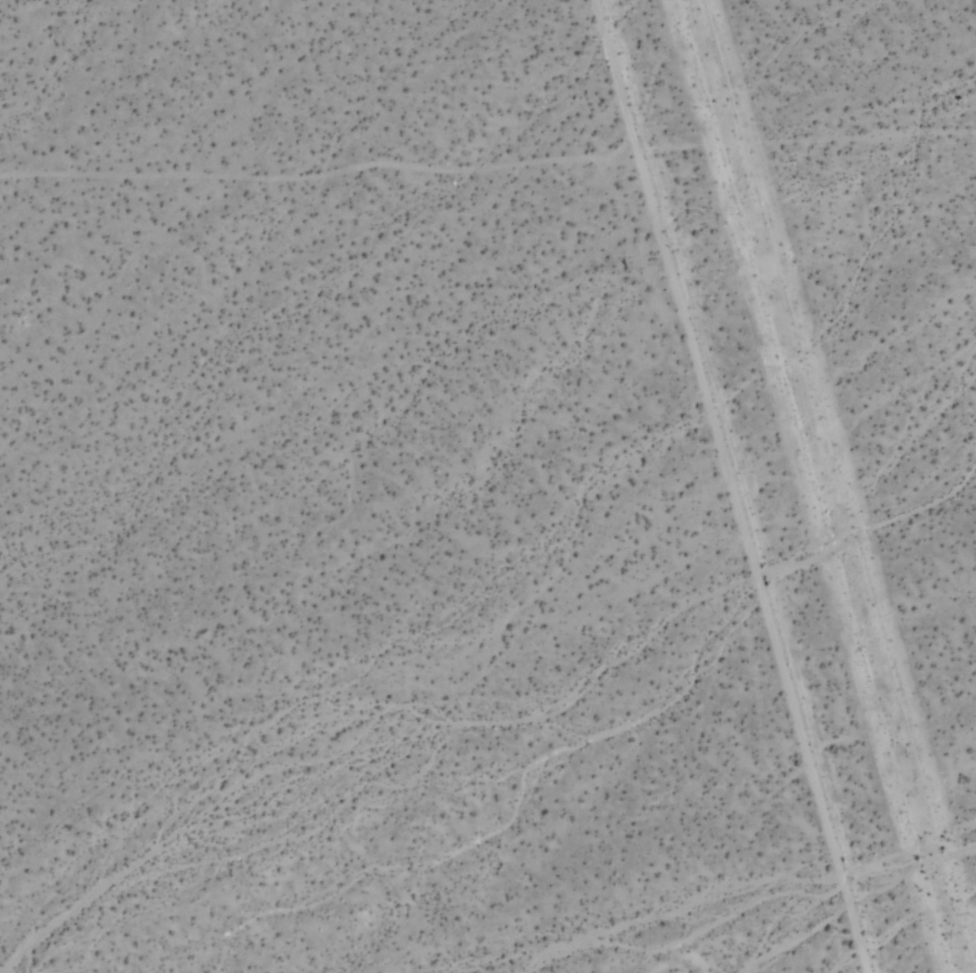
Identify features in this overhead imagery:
road: (729, 486)

